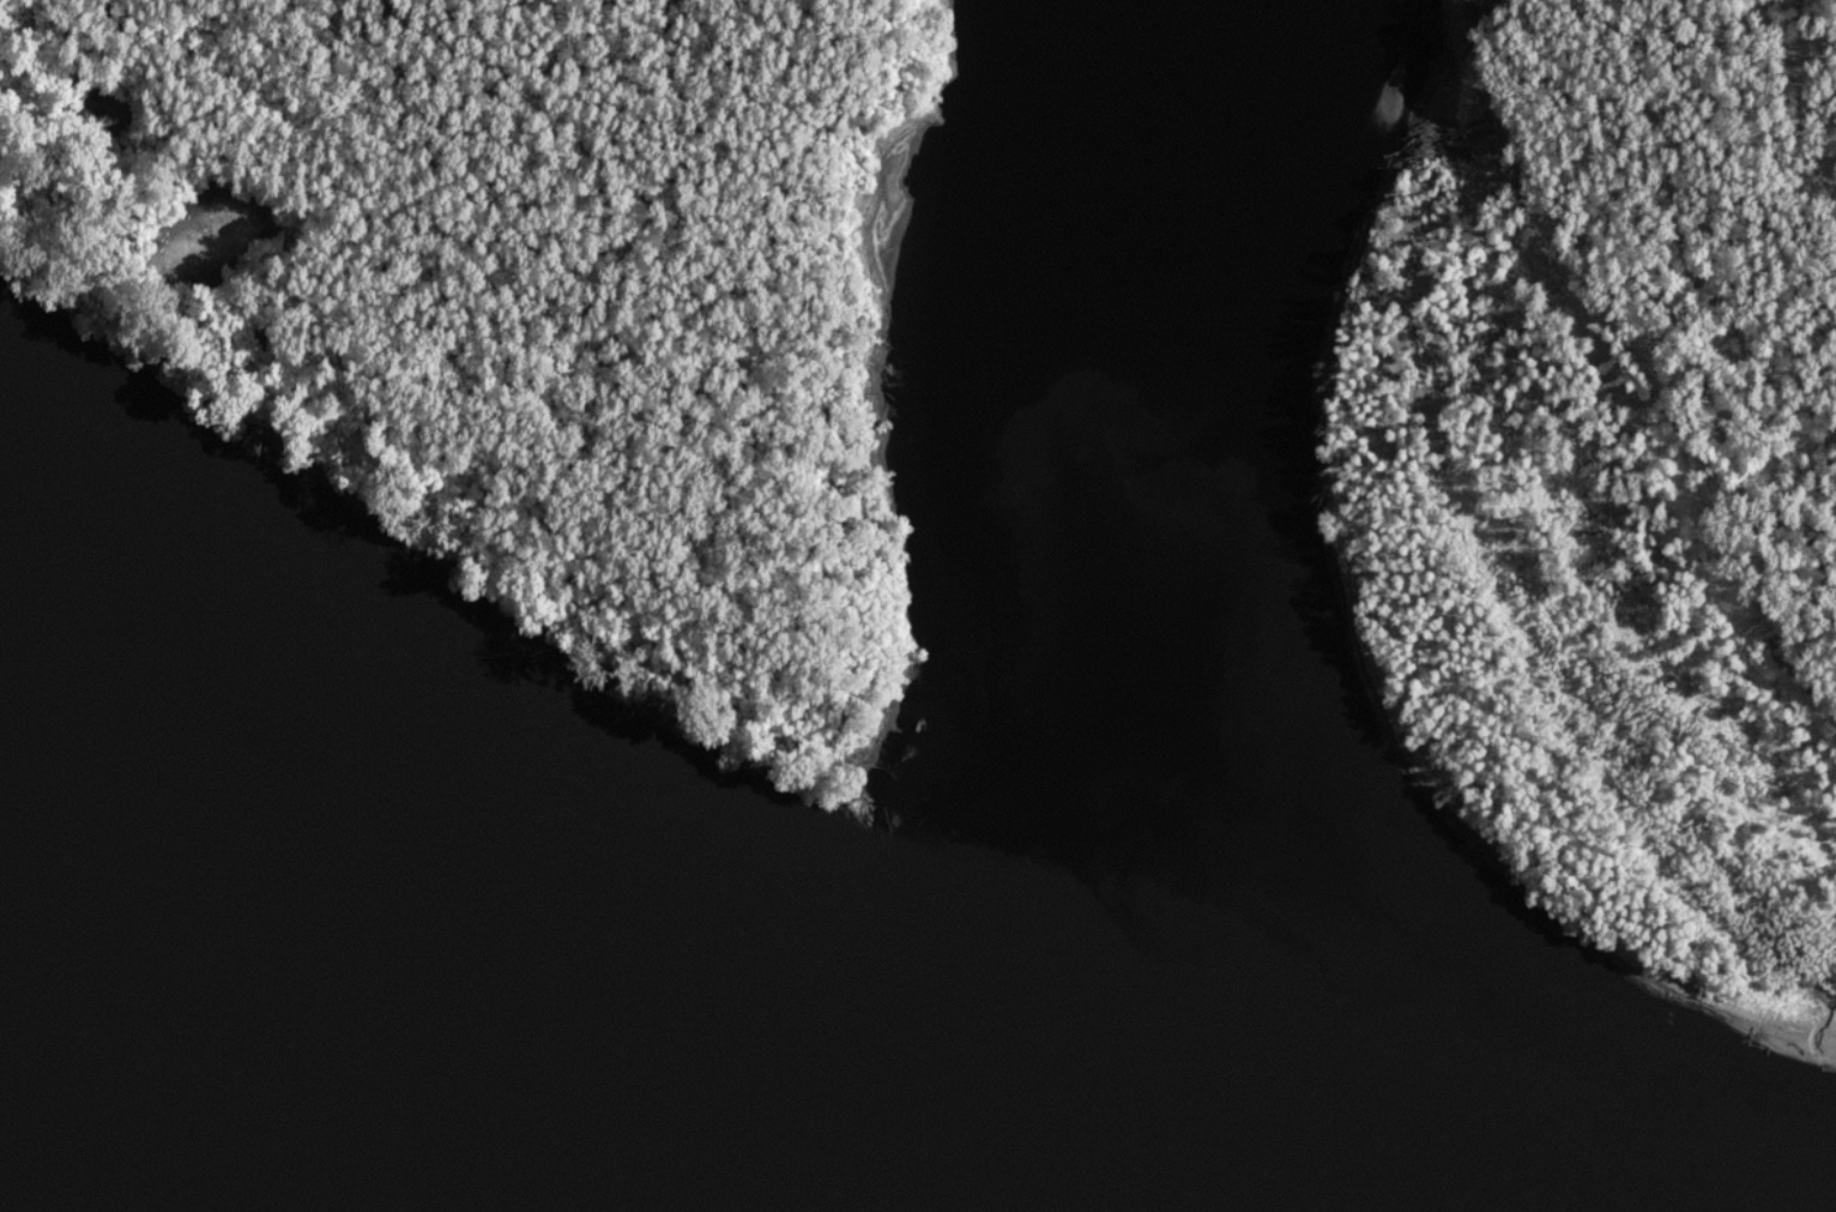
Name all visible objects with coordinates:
river: (1250, 723)
river: (463, 1038)

